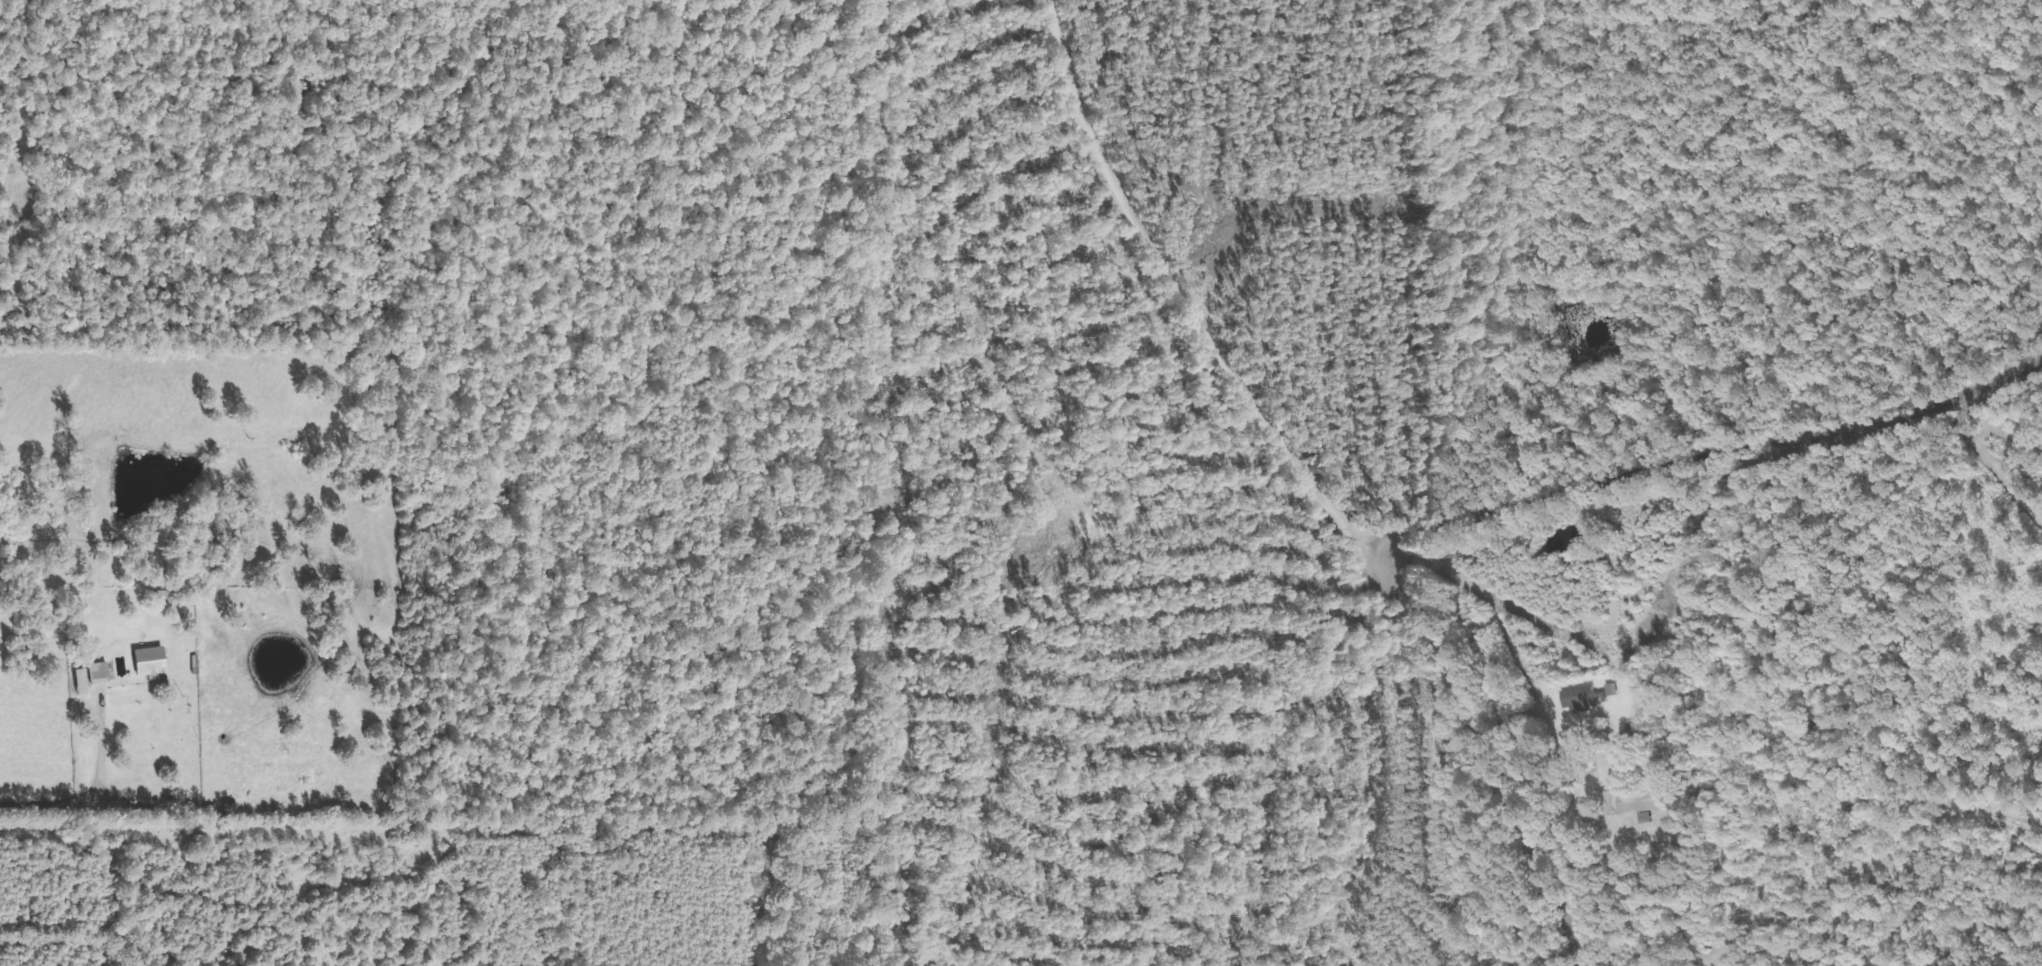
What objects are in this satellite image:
road: (1705, 466)
road: (1288, 483)
building: (144, 660)
building: (93, 672)
building: (1579, 697)
building: (1651, 726)
building: (1635, 796)
road: (1628, 854)

